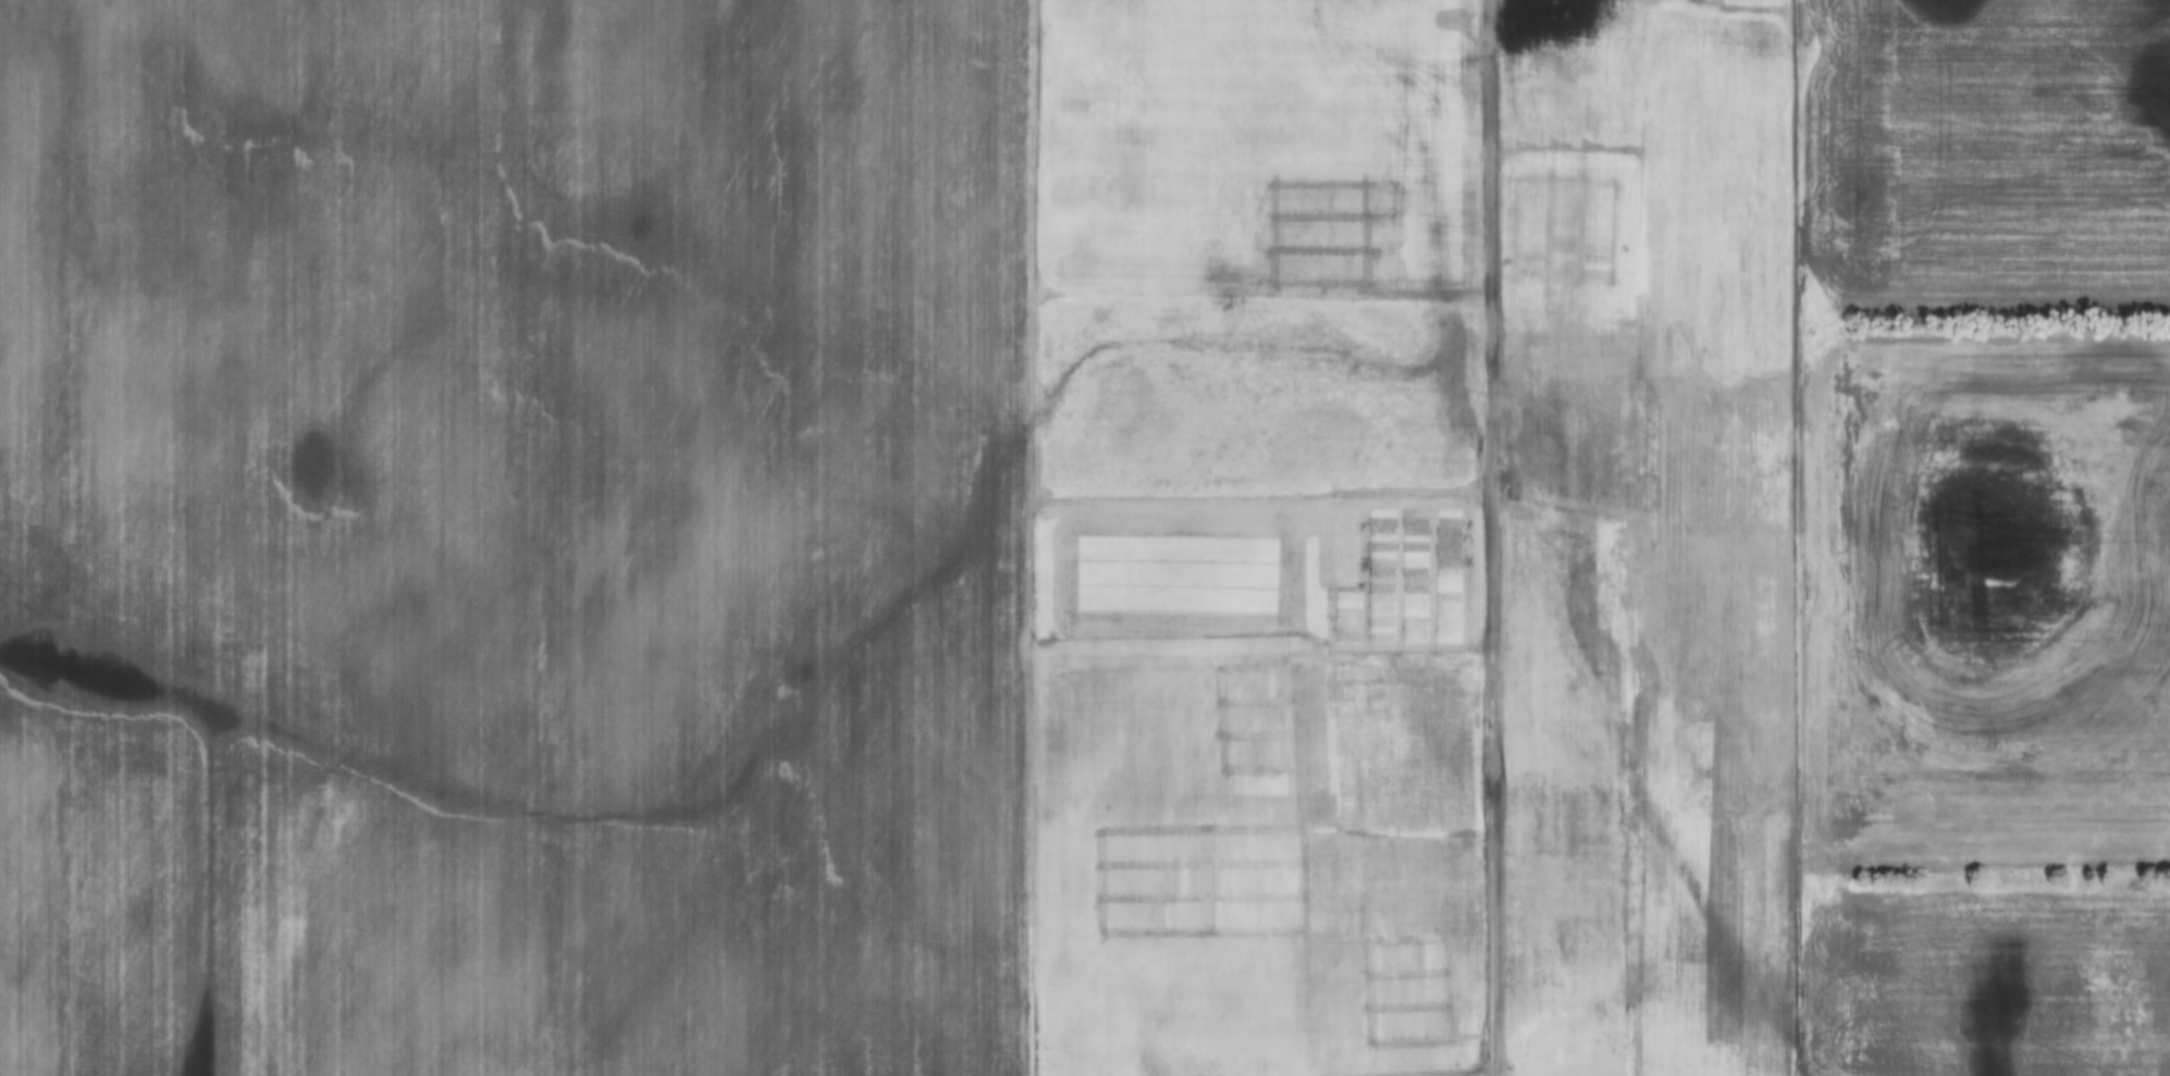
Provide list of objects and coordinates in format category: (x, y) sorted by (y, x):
road: (72, 537)
road: (1496, 537)

